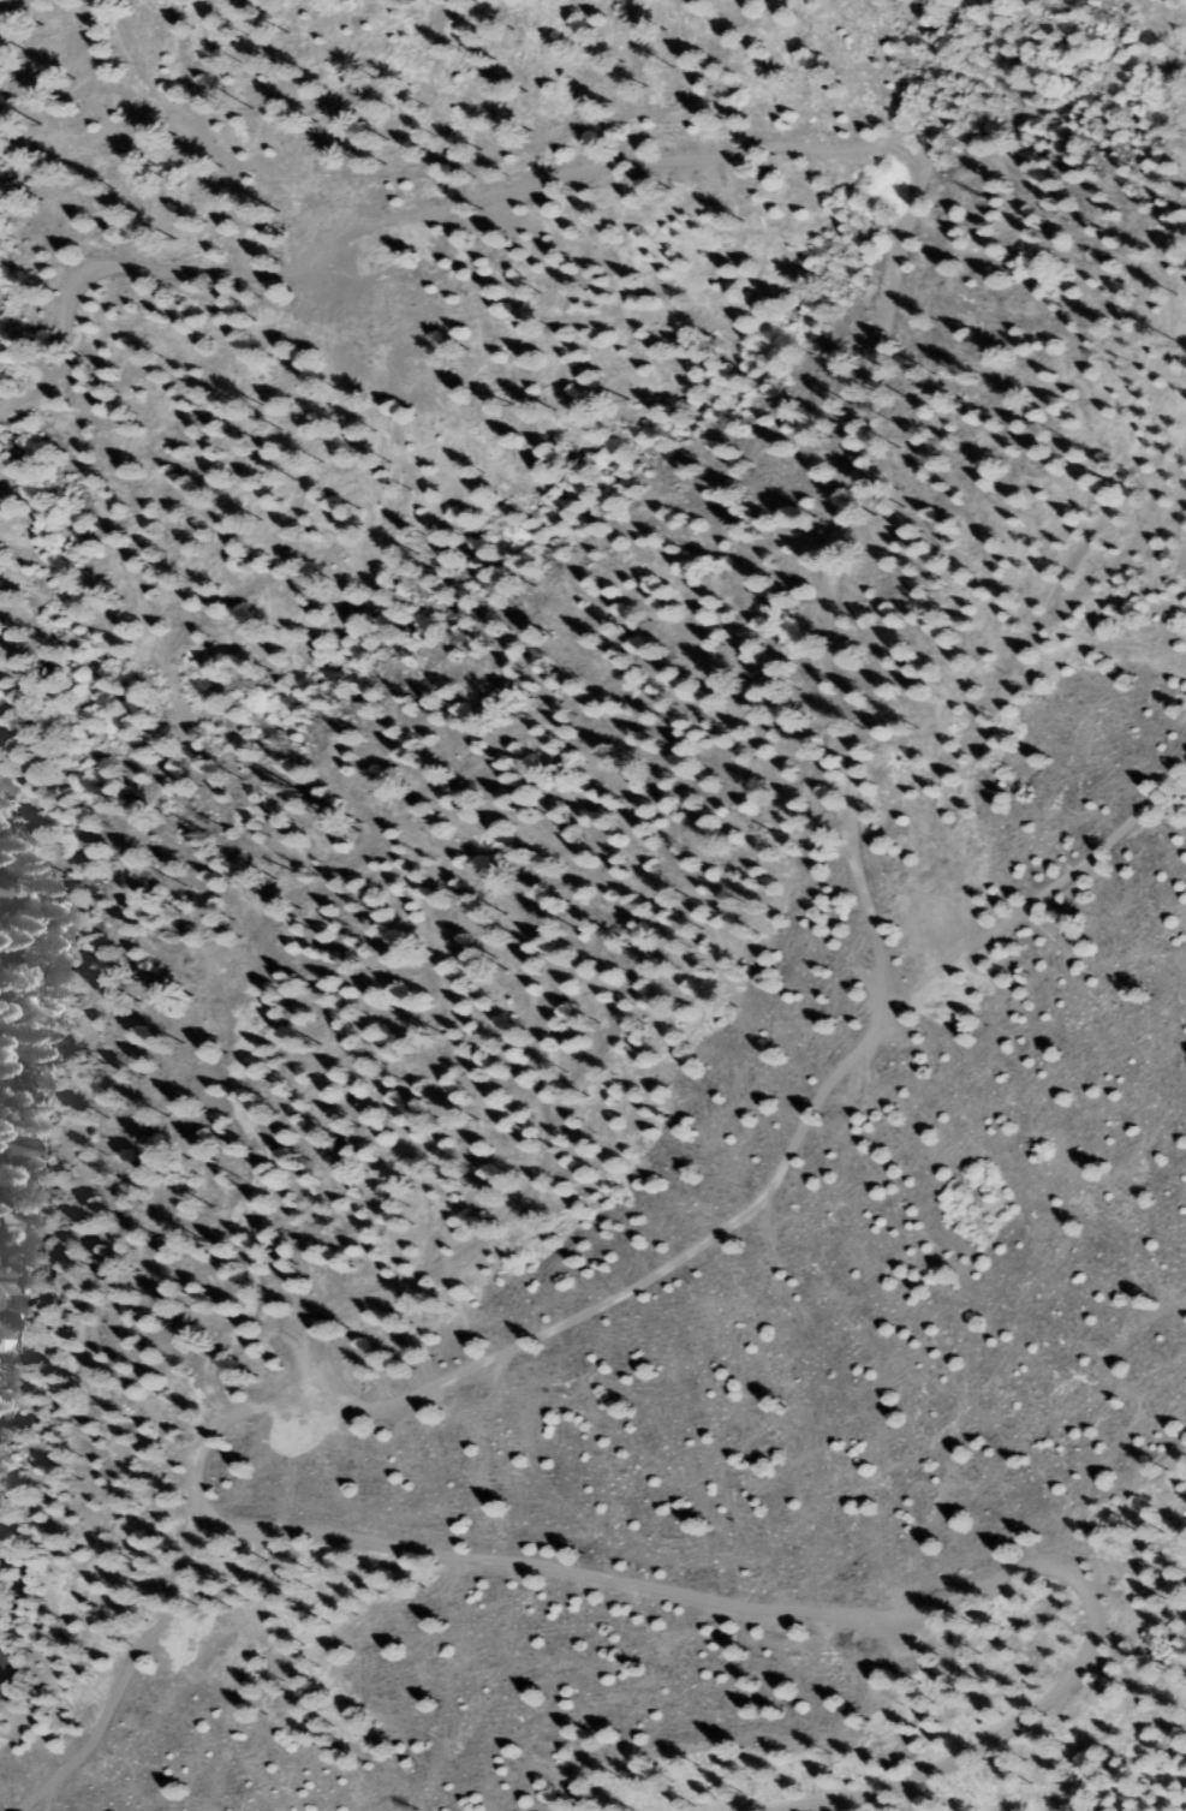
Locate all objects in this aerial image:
building: (6, 792)
building: (6, 898)
building: (14, 959)
building: (35, 1061)
building: (19, 1150)
building: (7, 1225)
building: (8, 1275)
building: (6, 1330)
road: (103, 1411)
building: (16, 1426)
building: (7, 1673)
road: (1000, 1730)

